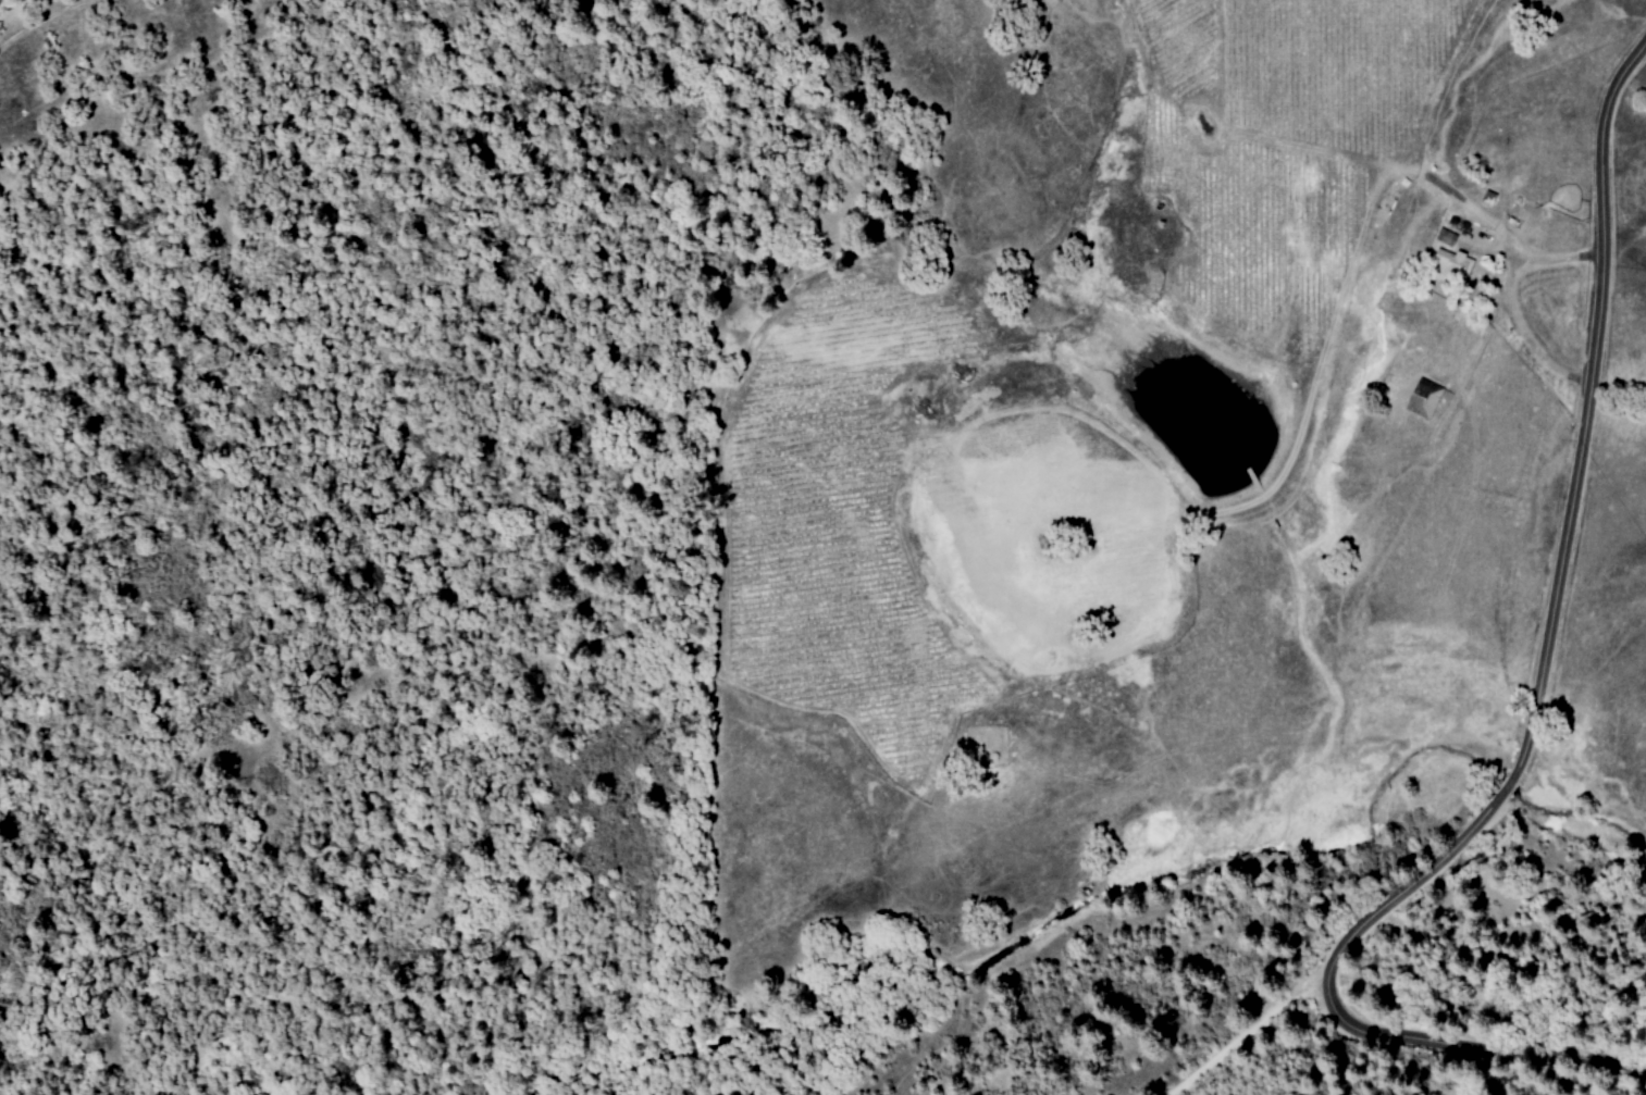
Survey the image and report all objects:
building: (1444, 237)
building: (1450, 266)
building: (1422, 399)
road: (1560, 549)
road: (1489, 1033)
road: (1245, 1036)

